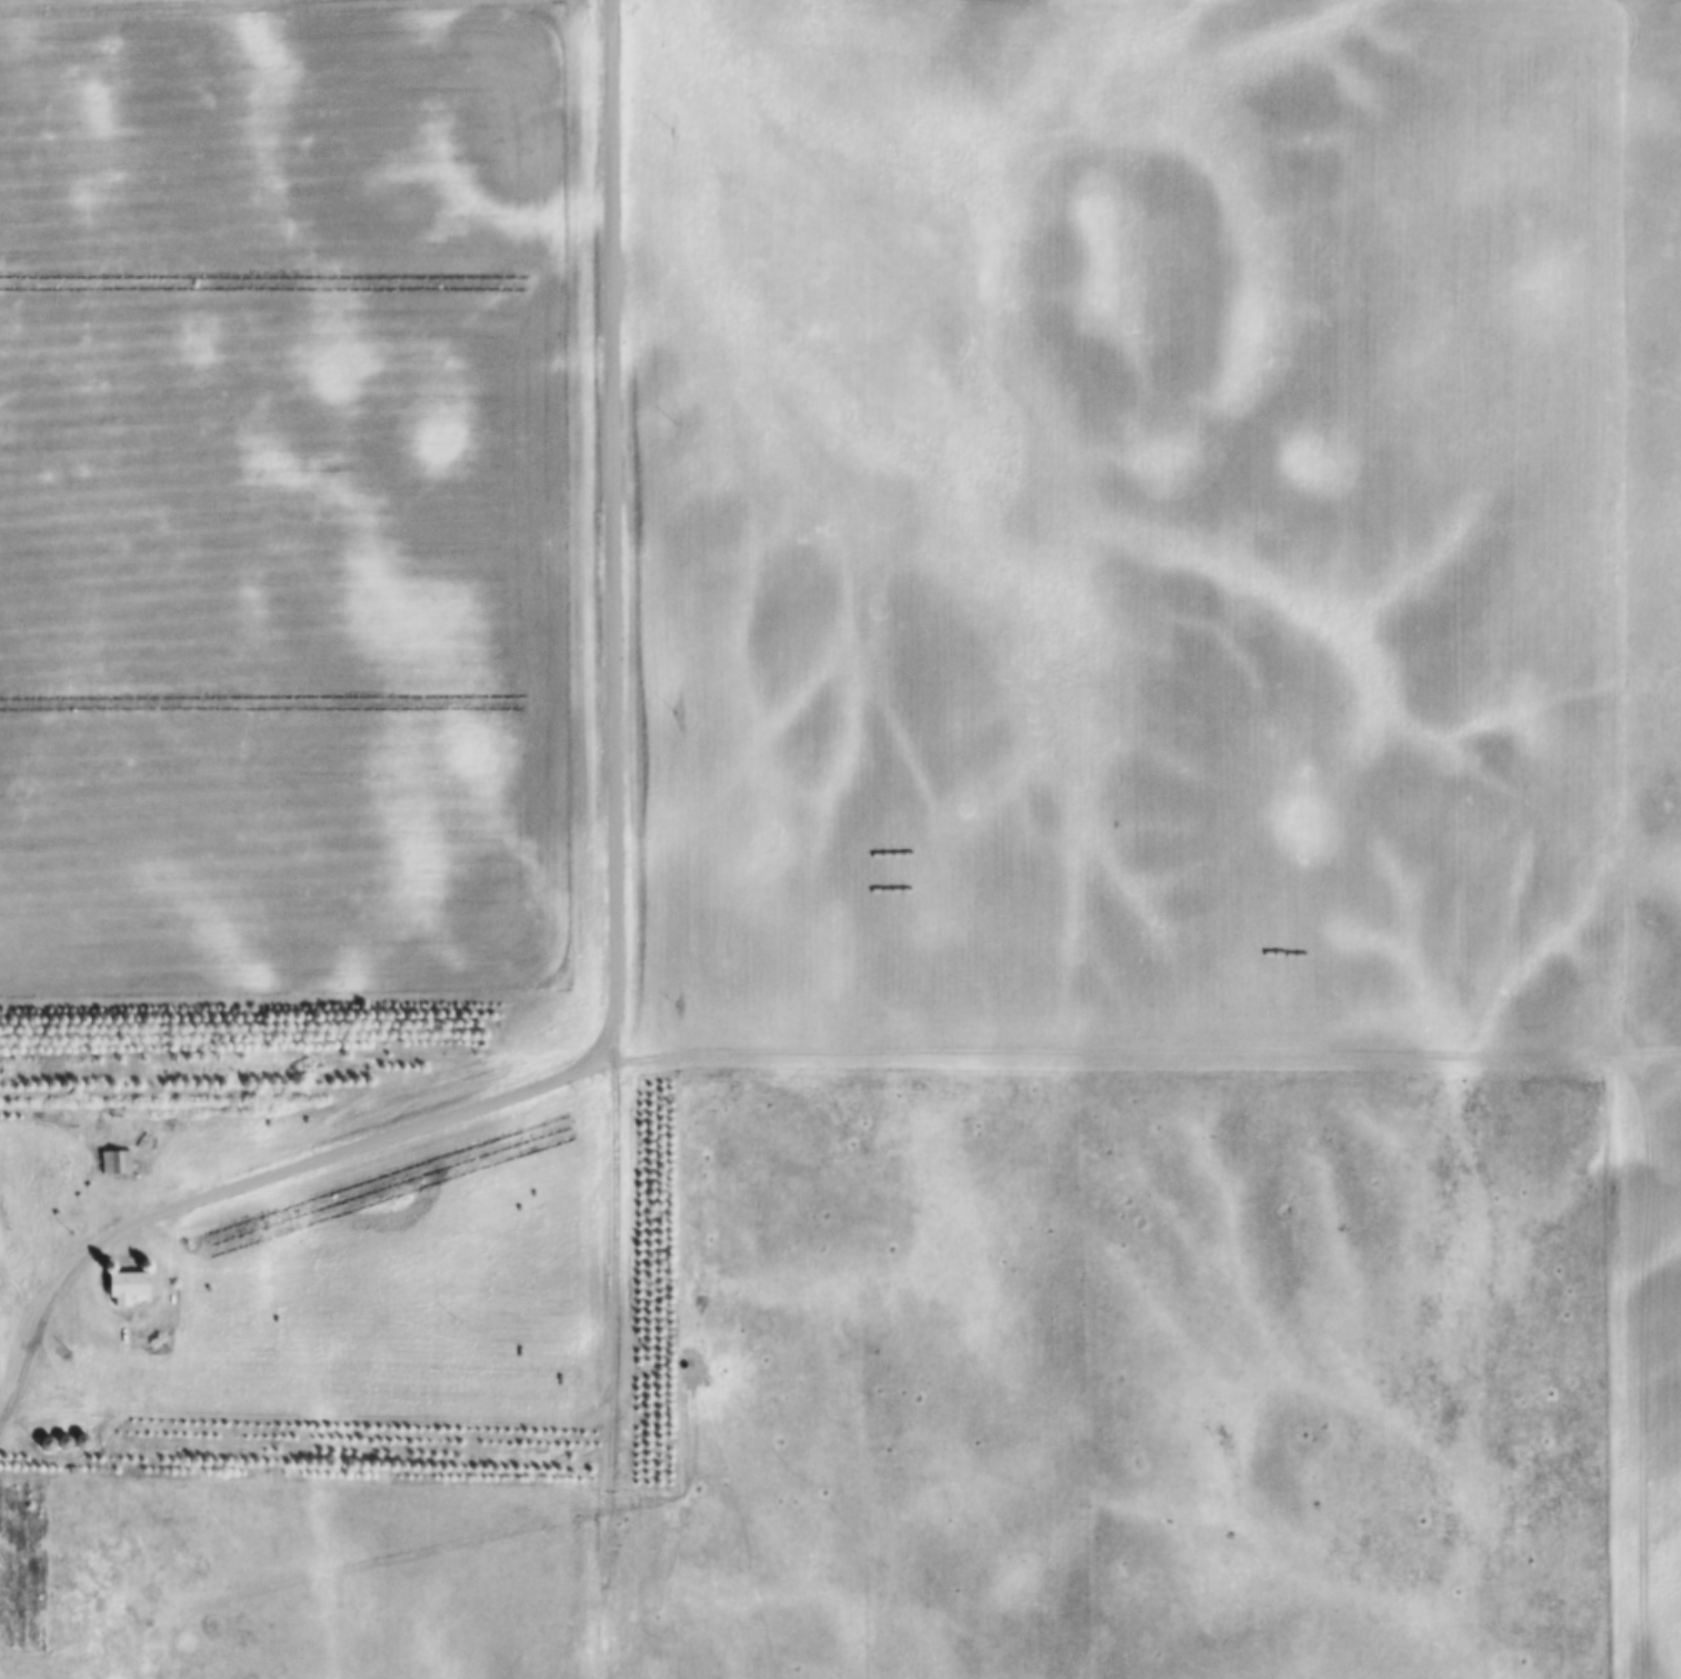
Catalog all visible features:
road: (612, 514)
building: (56, 1132)
road: (373, 1137)
building: (117, 1162)
building: (87, 1166)
building: (128, 1287)
road: (613, 1353)
building: (80, 1441)
silo: (80, 1441)
building: (62, 1442)
silo: (62, 1442)
building: (46, 1443)
silo: (46, 1443)
road: (293, 1445)
building: (74, 1470)

